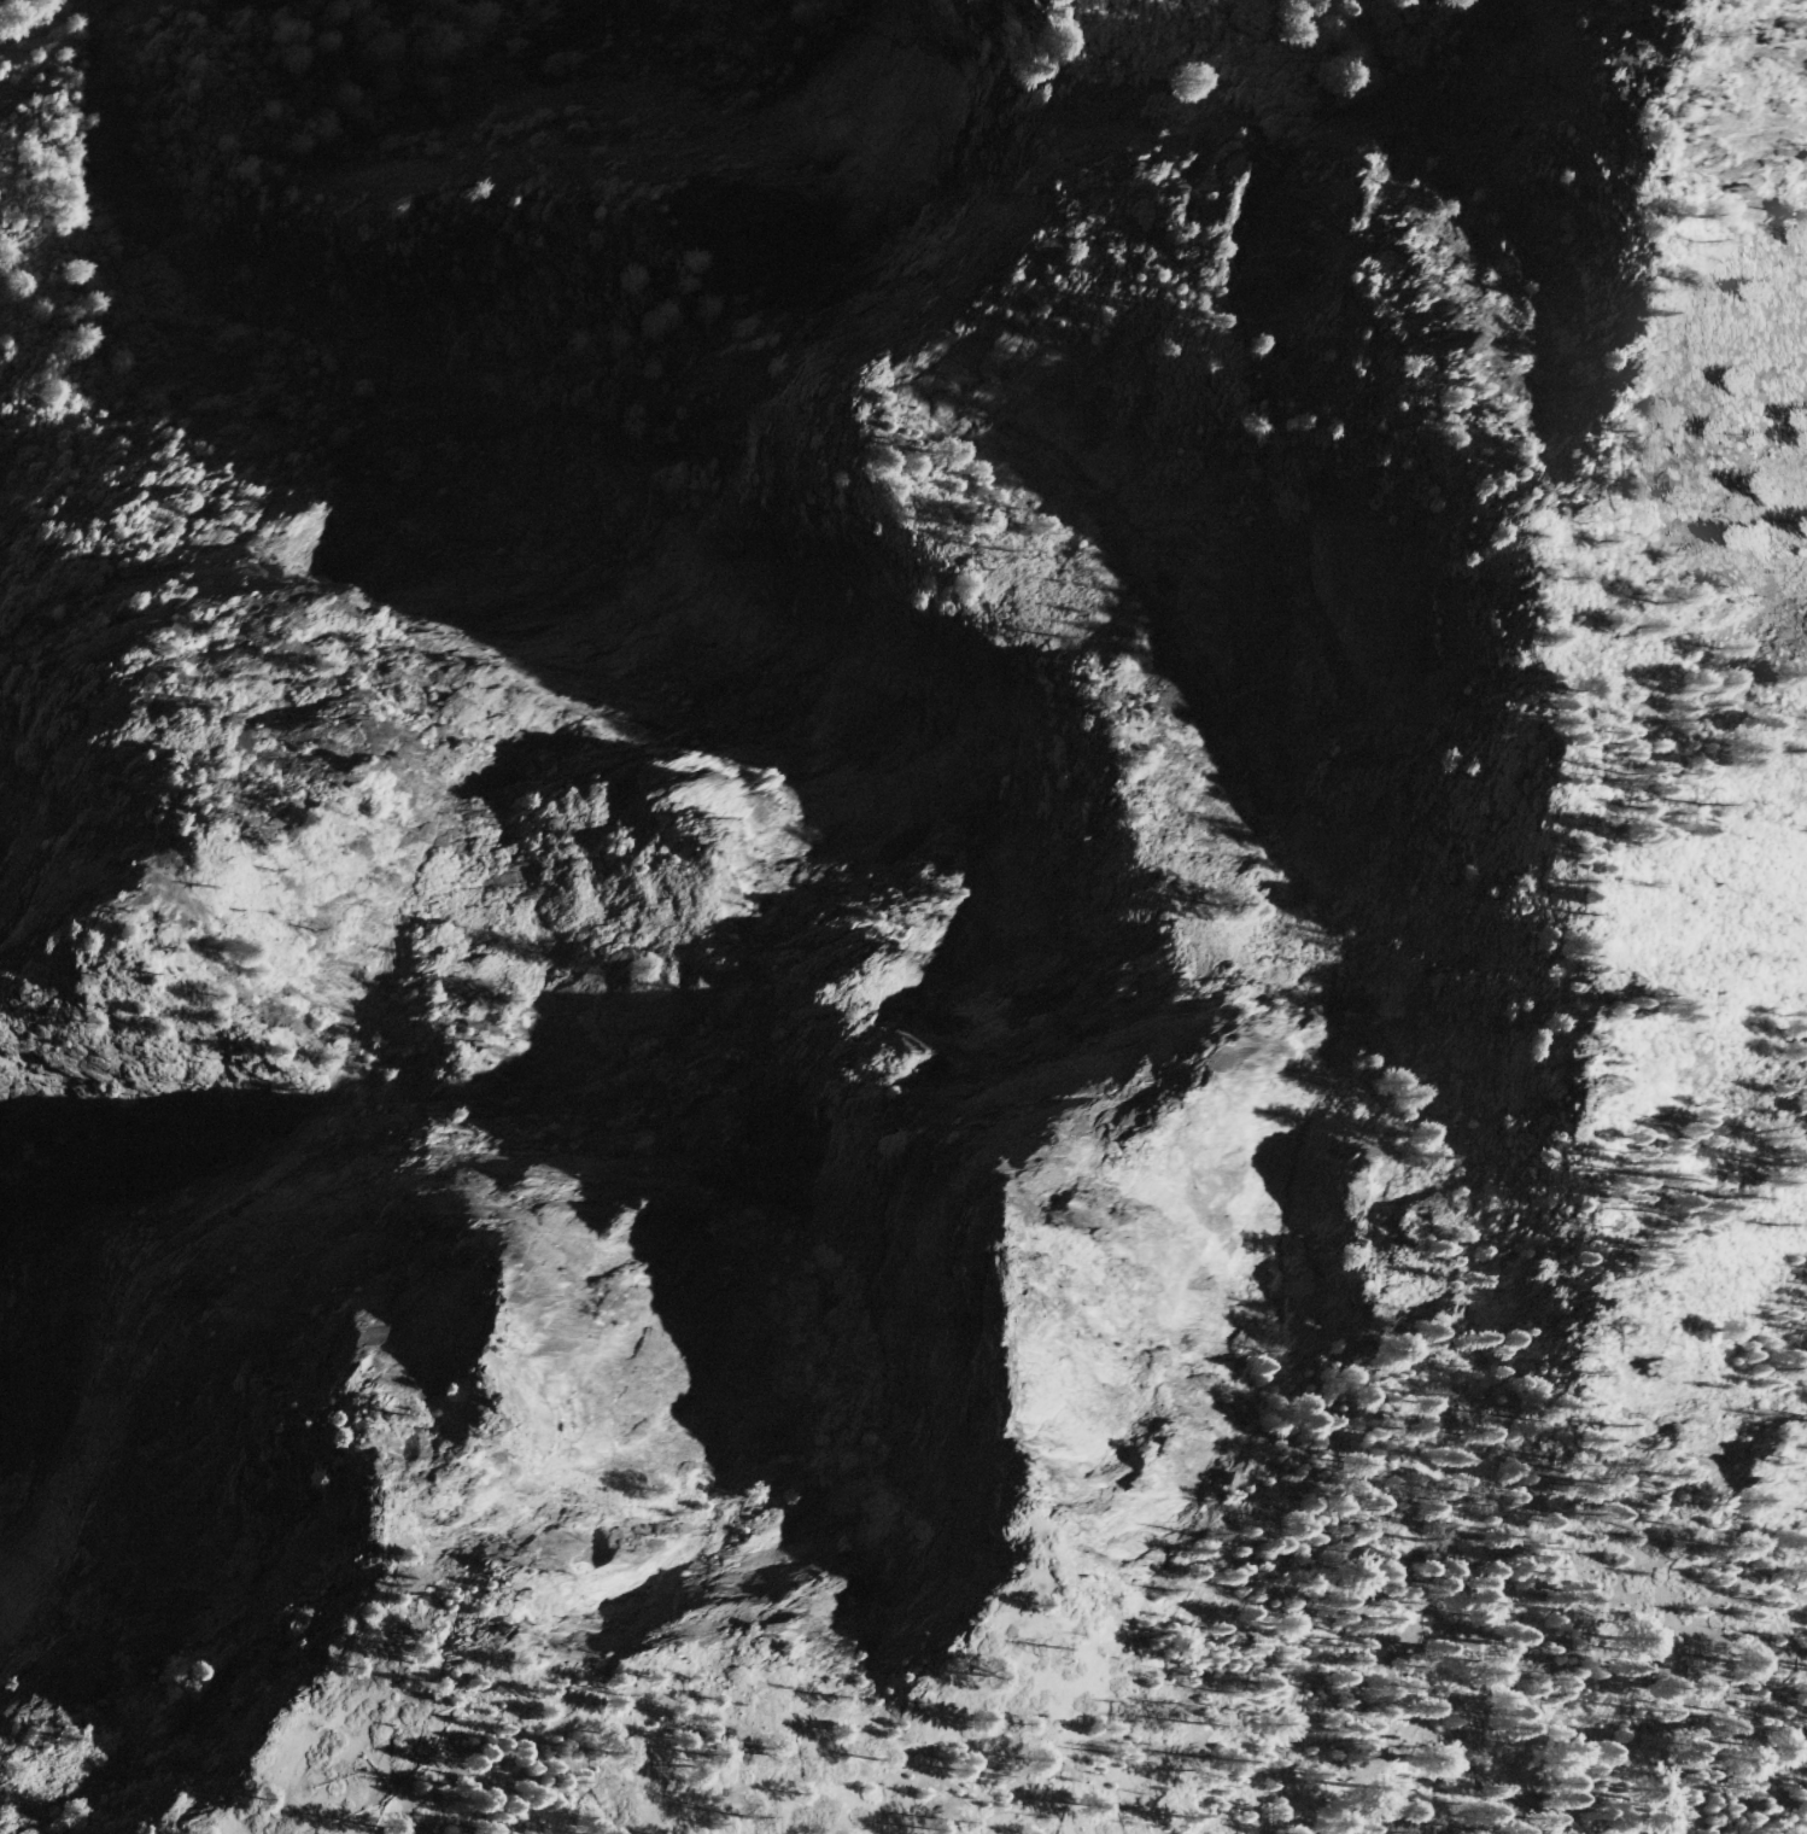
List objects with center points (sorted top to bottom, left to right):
road: (1039, 1612)
road: (923, 1746)
road: (952, 1811)

